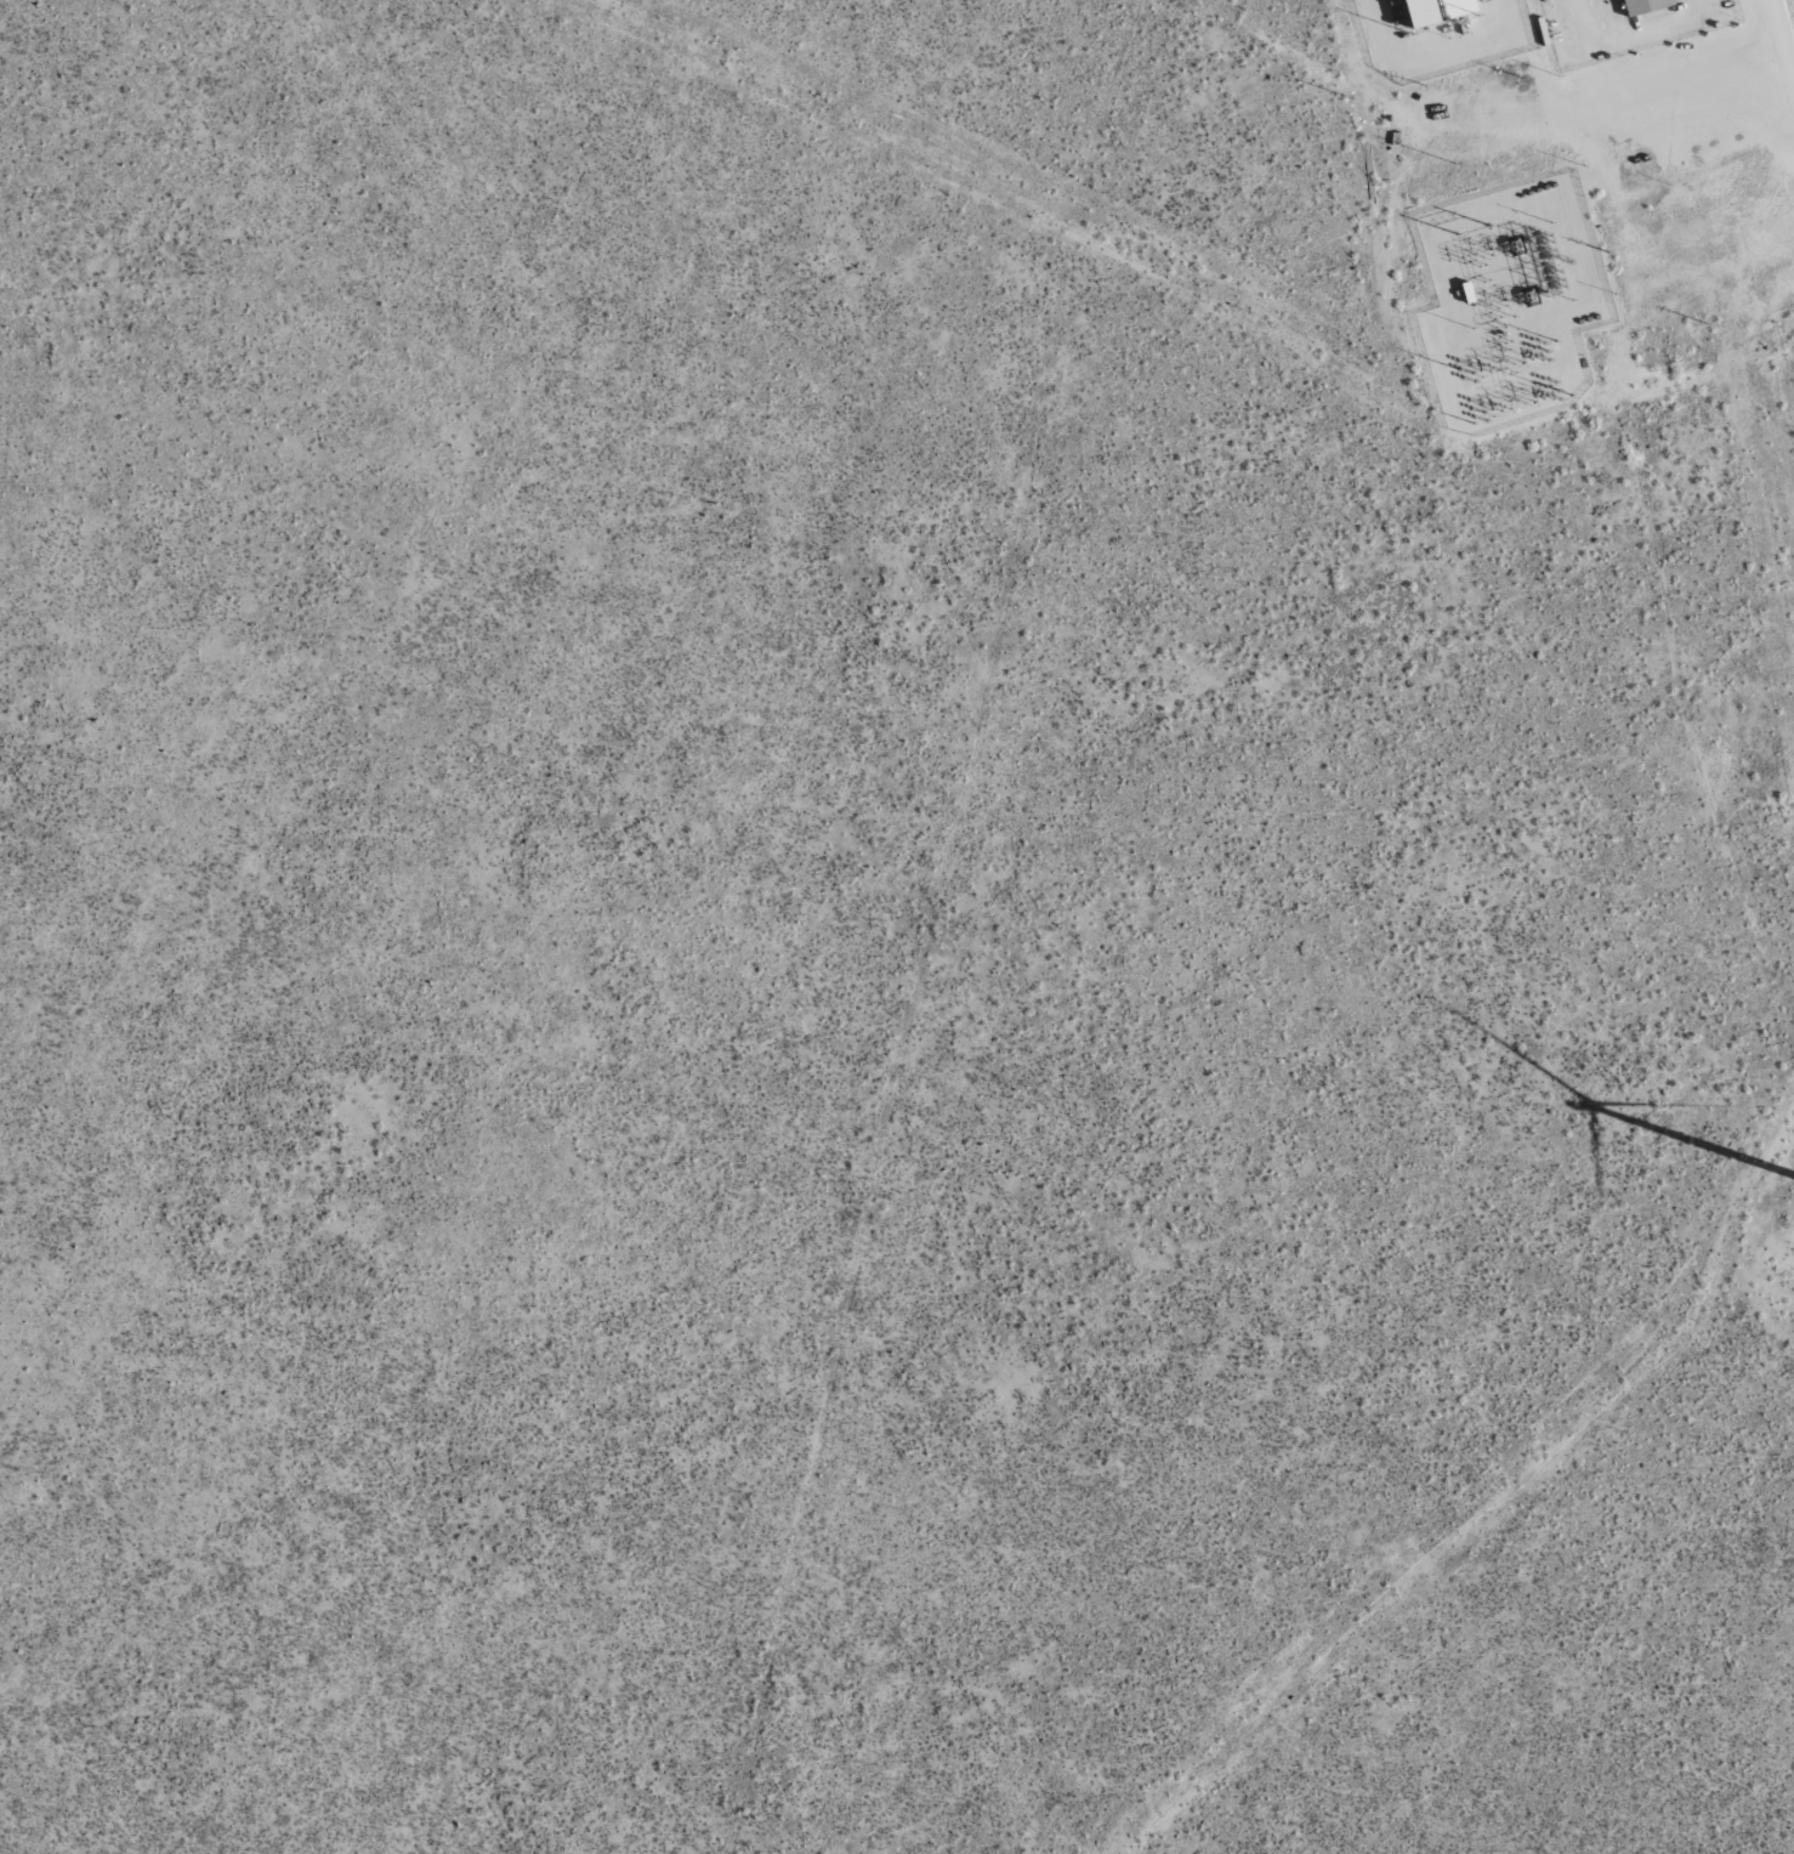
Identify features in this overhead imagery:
building: (1643, 5)
building: (1435, 10)
power tower: (1351, 97)
power tower: (1454, 164)
power tower: (1472, 228)
power substation: (1509, 302)

